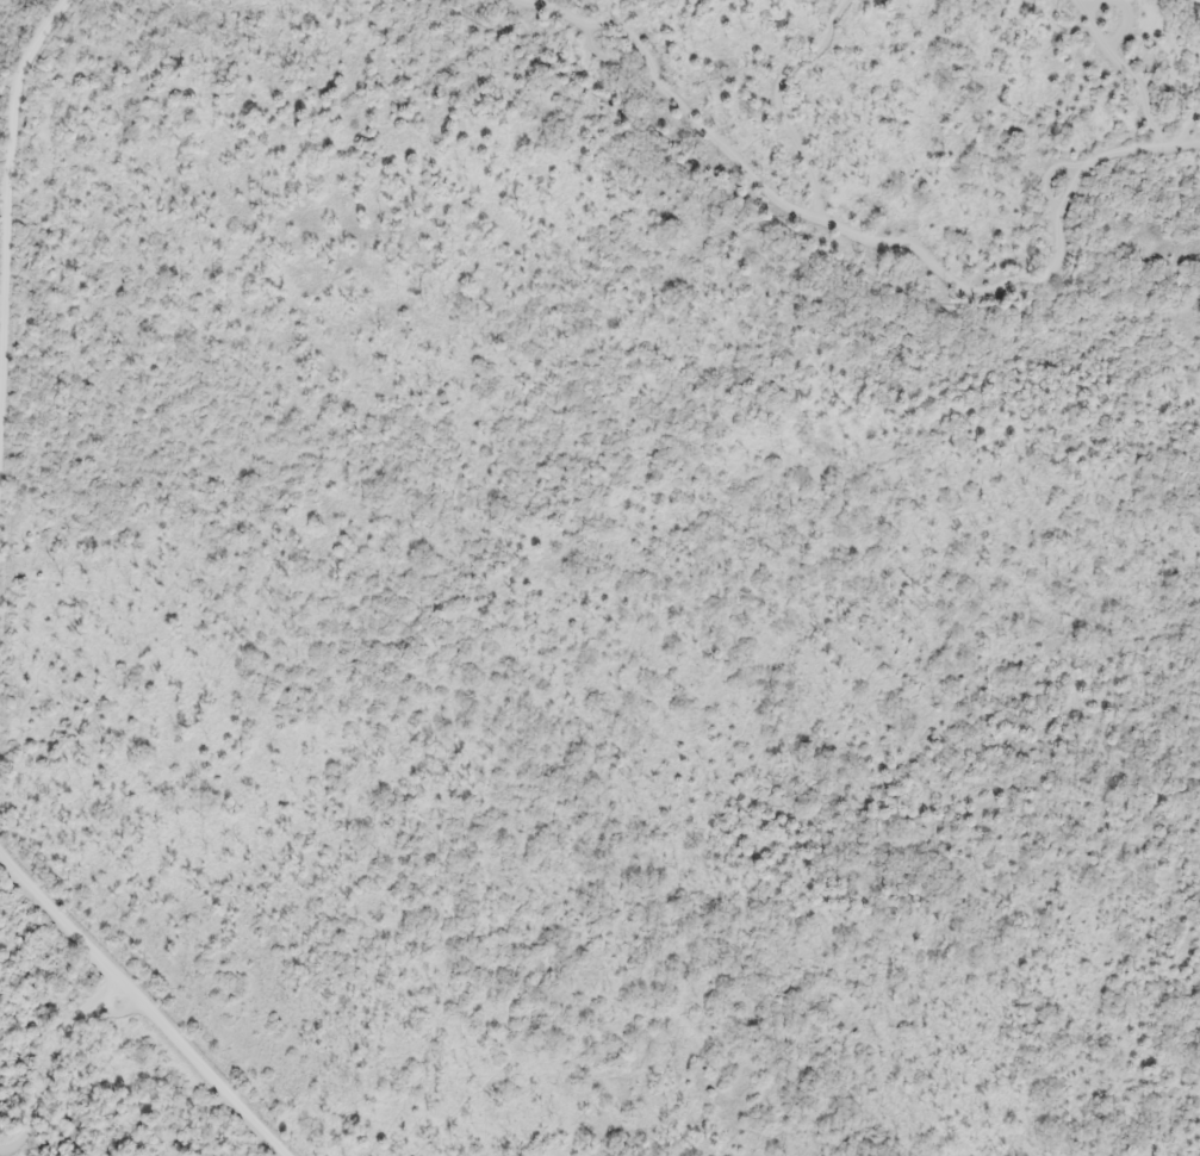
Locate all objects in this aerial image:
road: (623, 31)
road: (1125, 69)
road: (783, 100)
road: (1183, 142)
road: (1075, 194)
road: (8, 243)
road: (872, 244)
road: (144, 1003)

